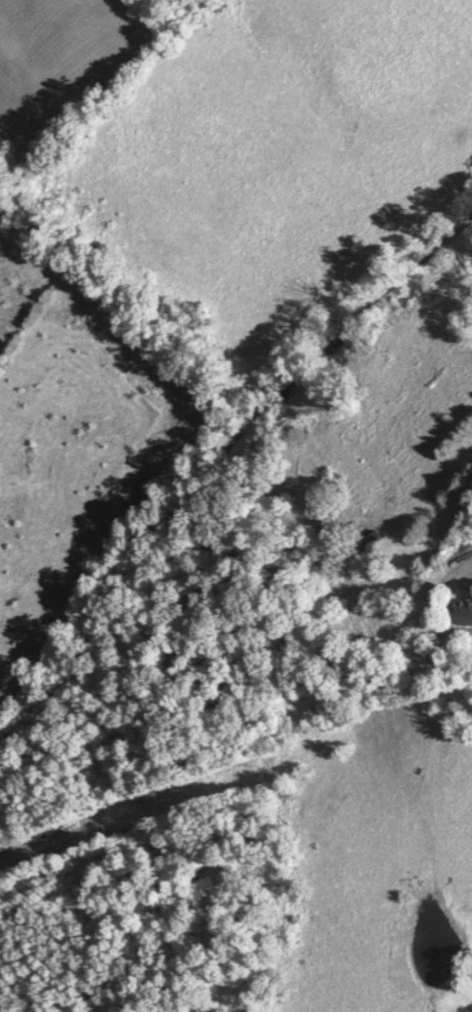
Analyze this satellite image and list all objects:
road: (437, 600)
building: (465, 615)

